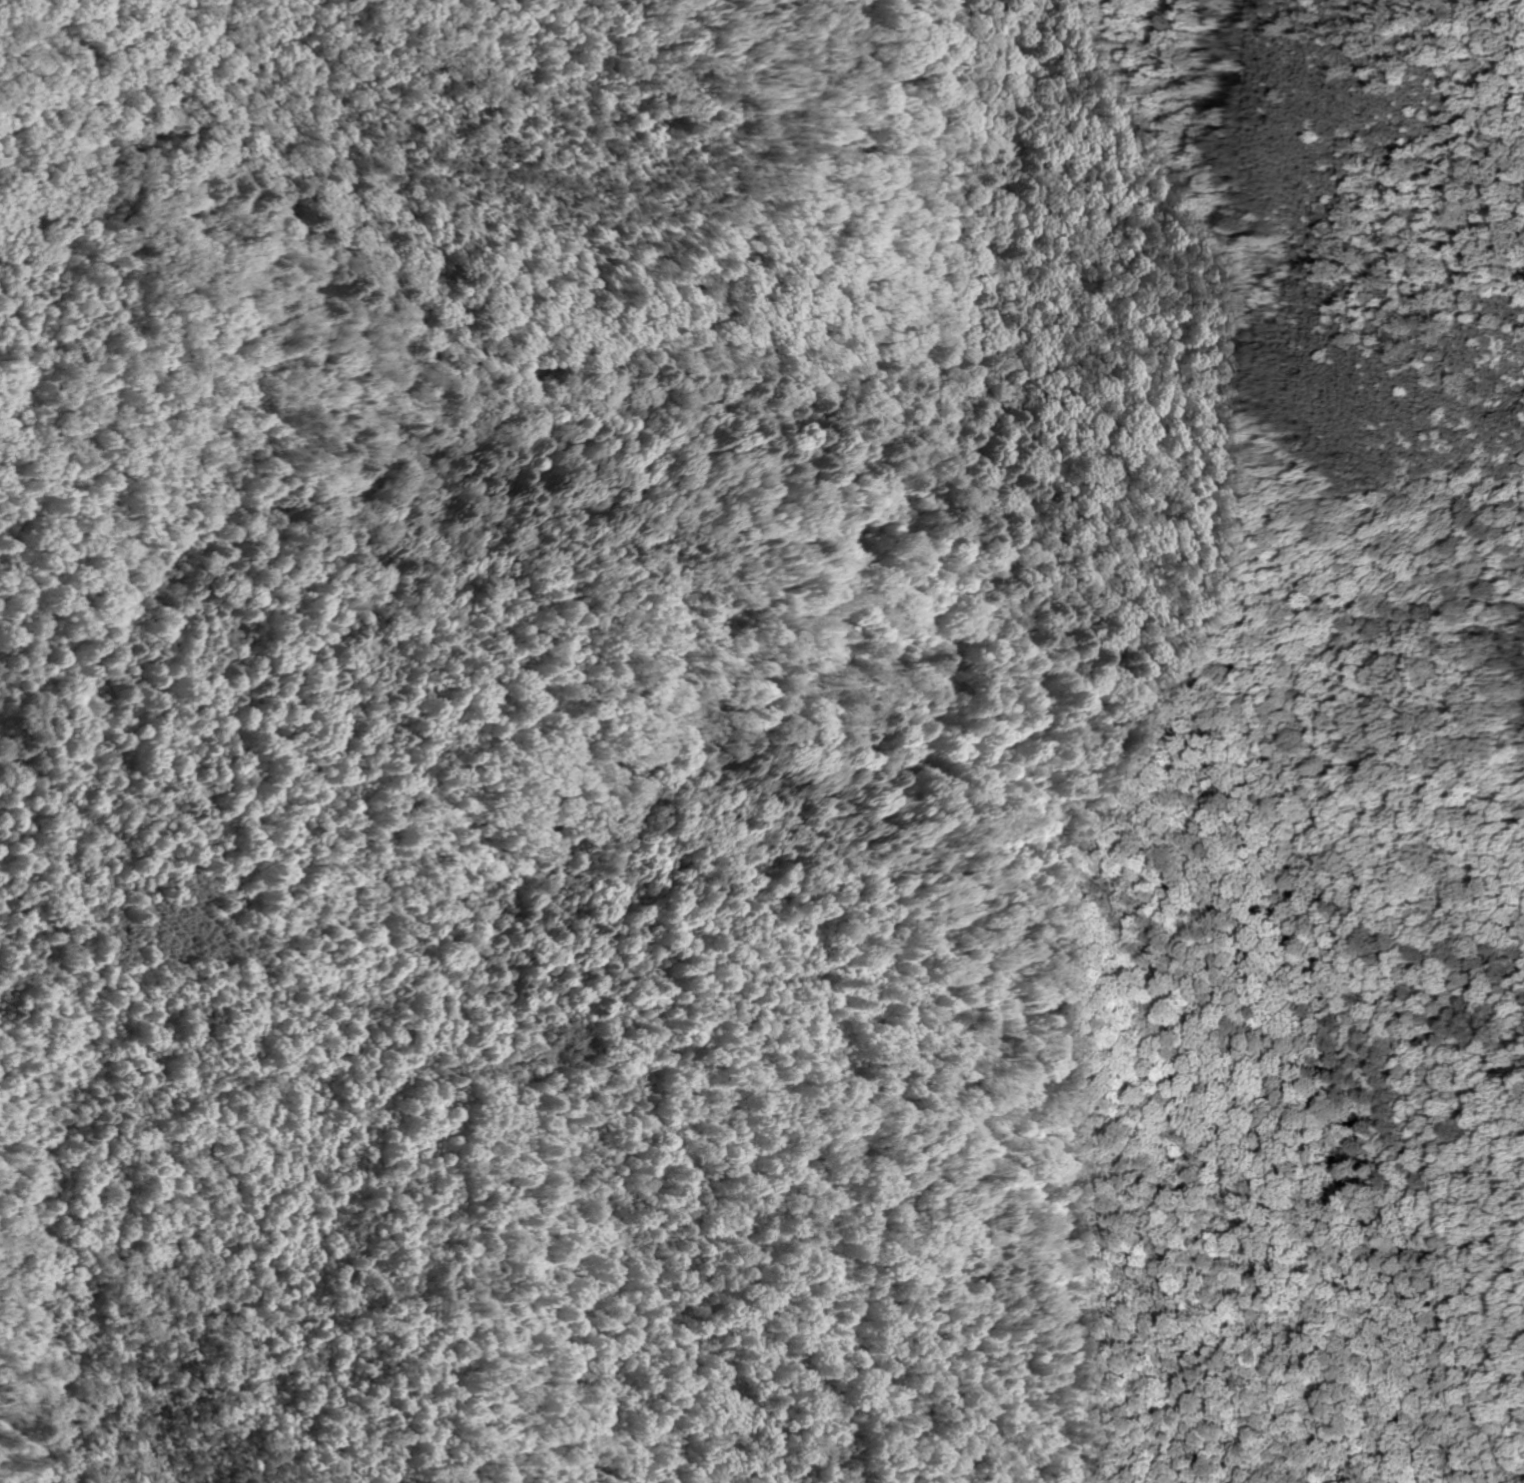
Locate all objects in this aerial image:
road: (525, 1028)

